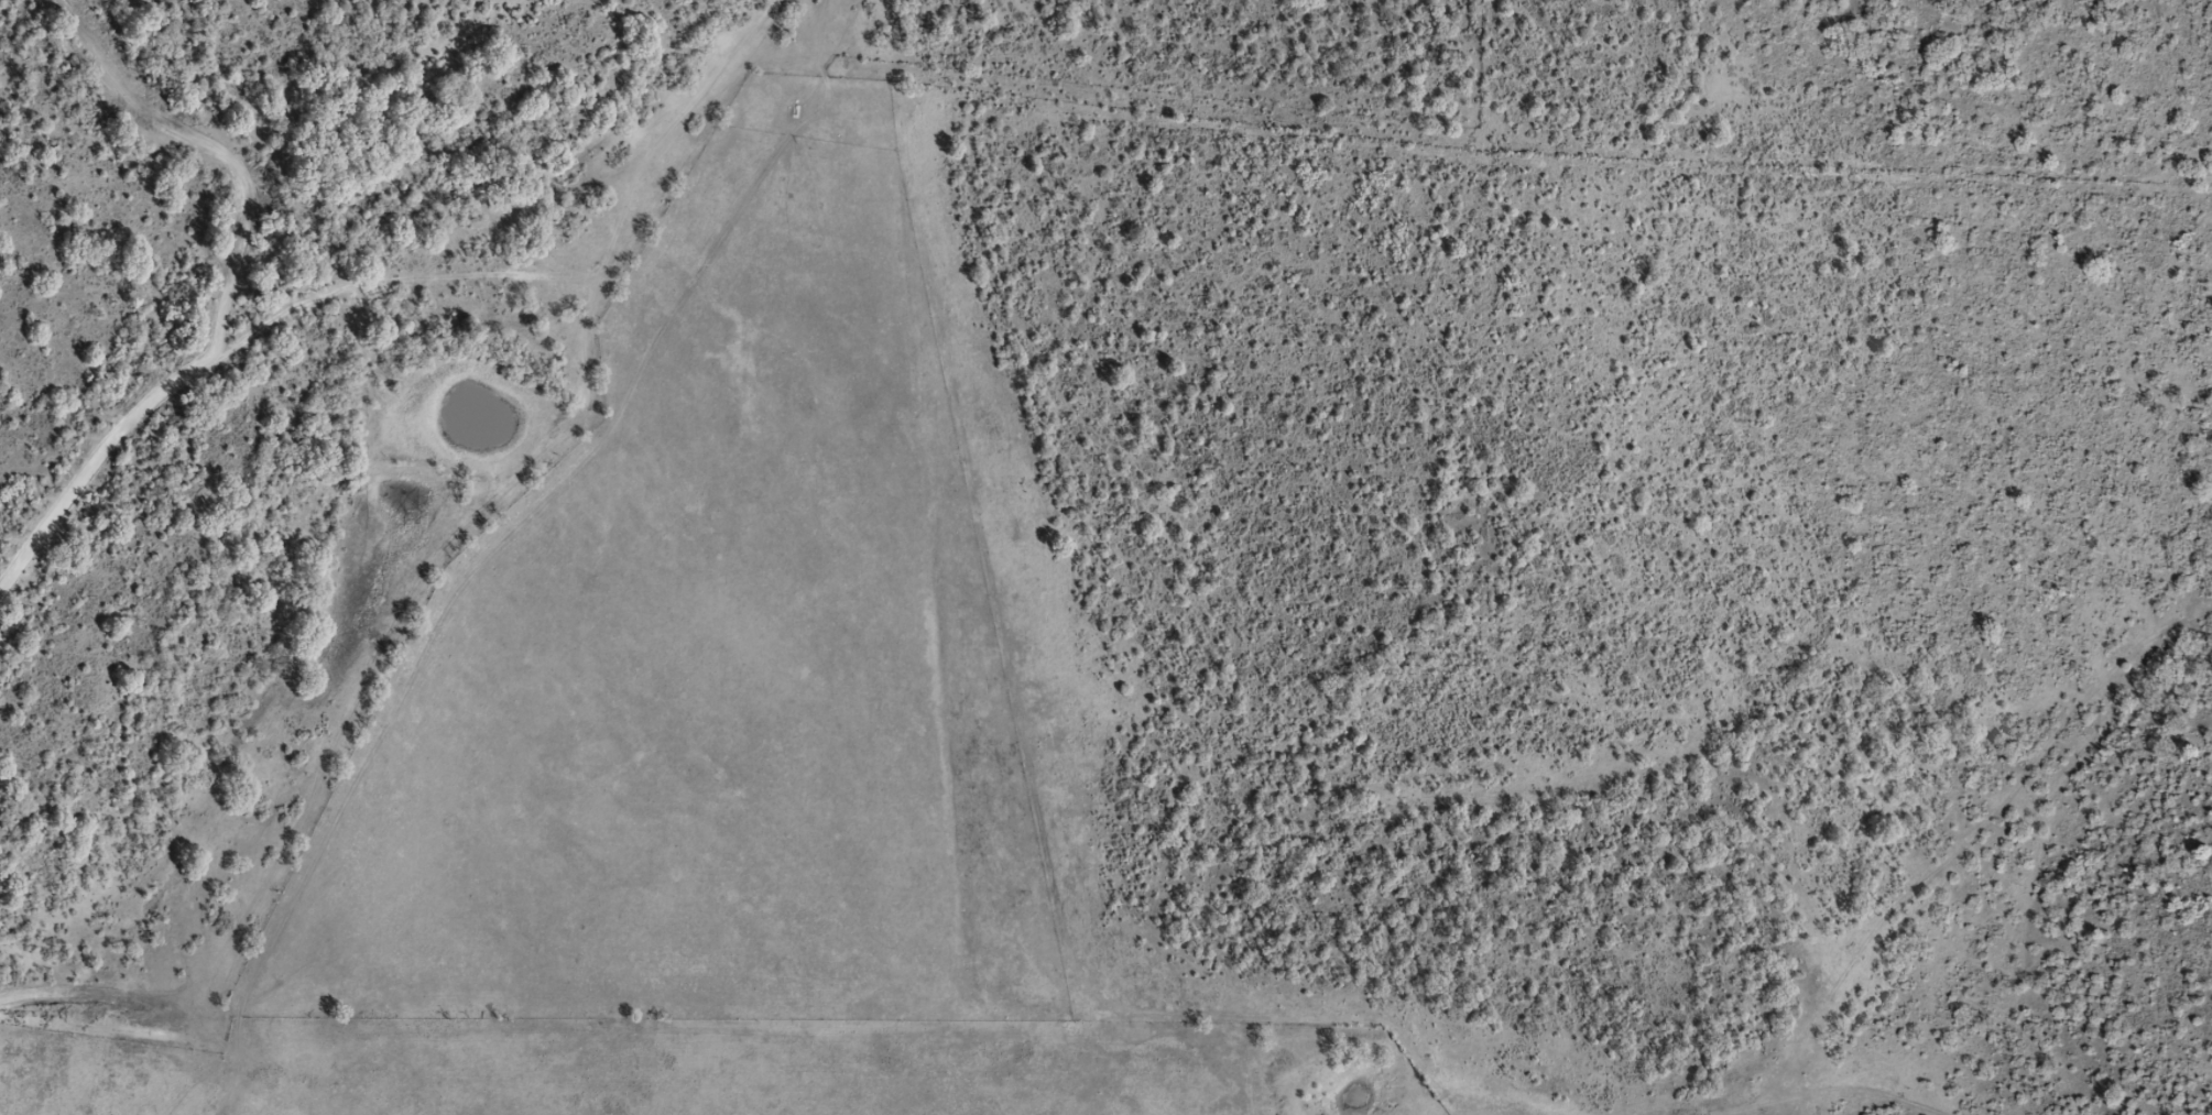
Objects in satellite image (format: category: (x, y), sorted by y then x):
road: (582, 260)
road: (262, 350)
road: (2094, 881)
road: (1927, 1094)

